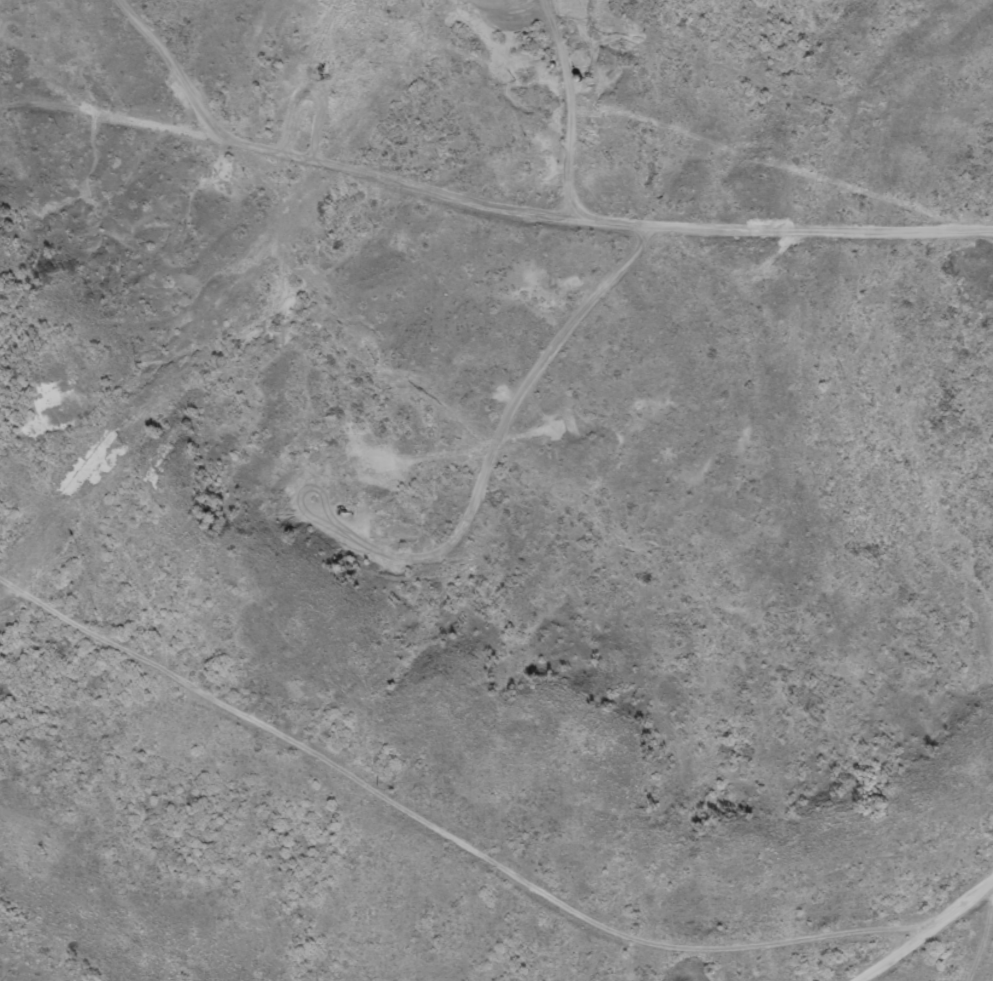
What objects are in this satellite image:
road: (617, 42)
road: (602, 110)
road: (494, 215)
road: (424, 843)
road: (924, 930)

